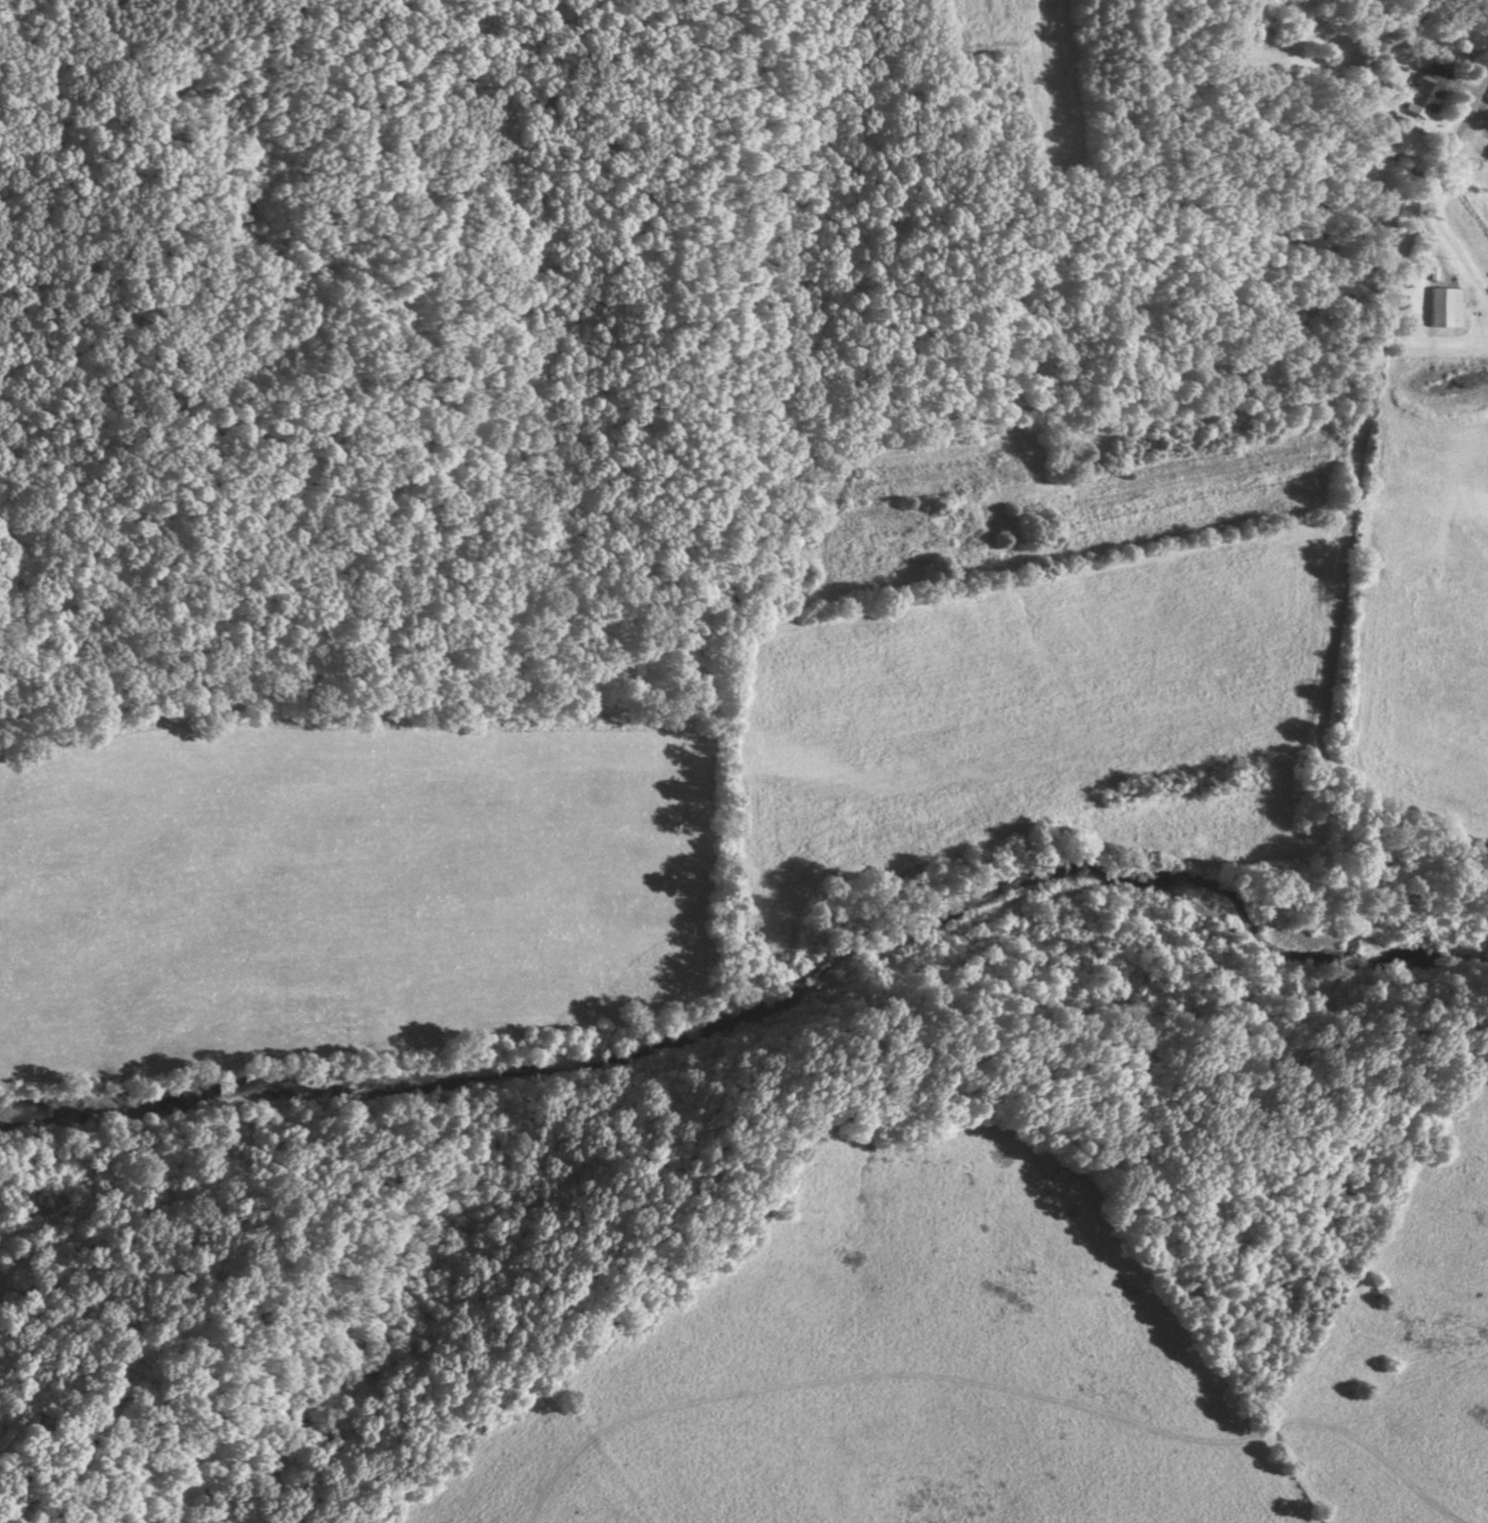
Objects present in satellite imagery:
building: (1429, 88)
building: (1448, 305)
road: (1358, 507)

